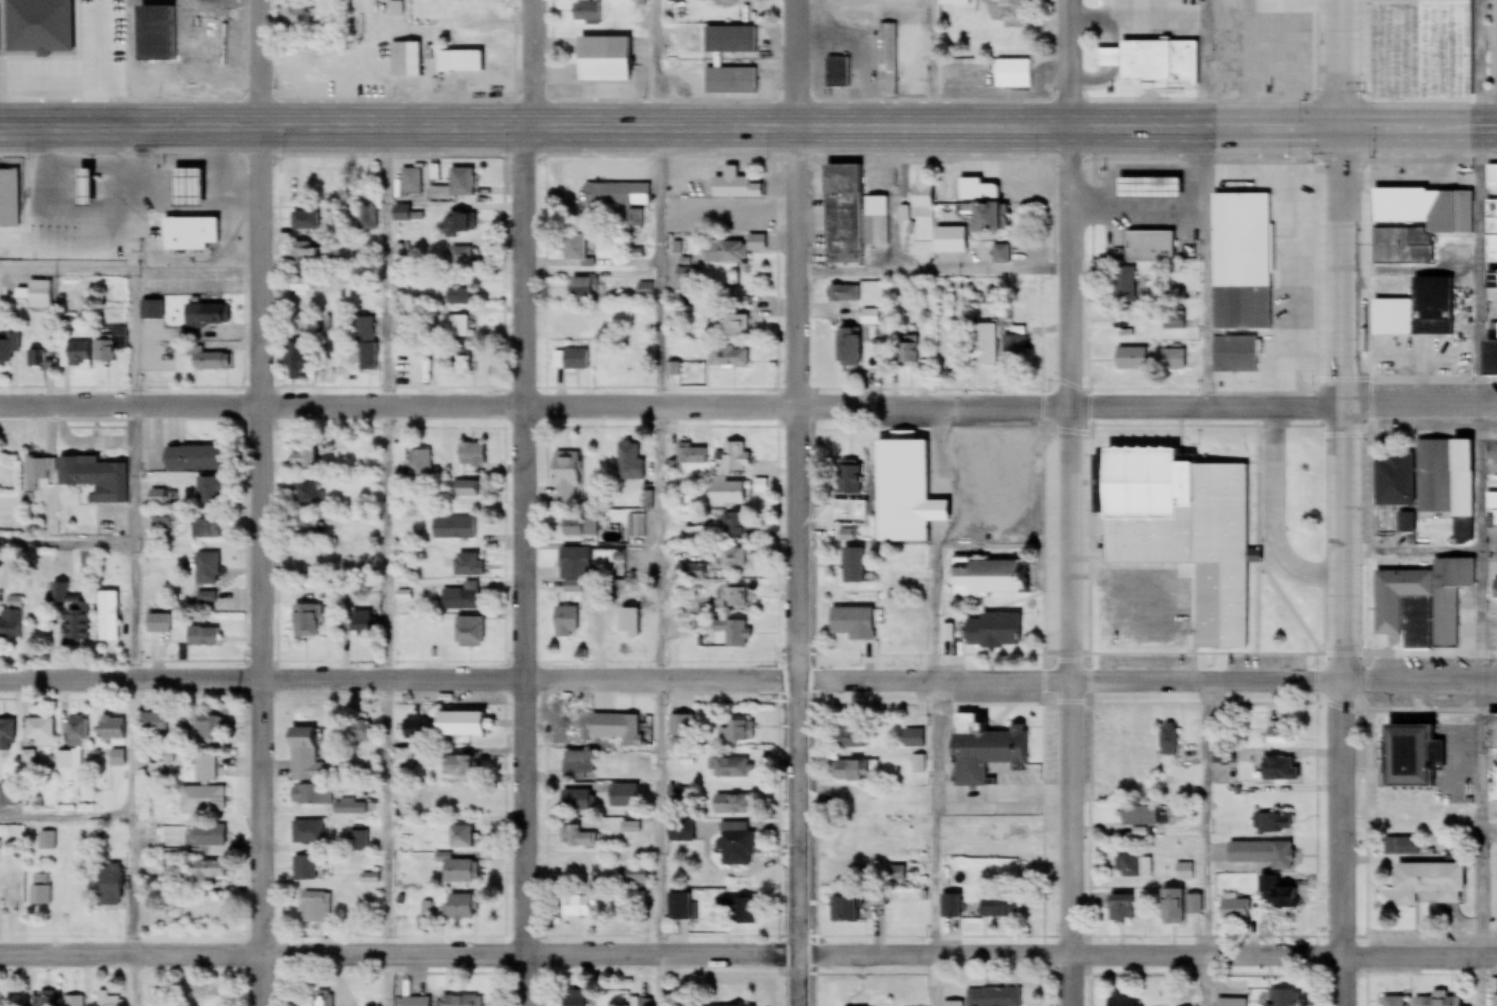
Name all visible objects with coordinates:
building: (1005, 9)
building: (585, 13)
building: (125, 44)
building: (1416, 48)
building: (601, 53)
building: (402, 60)
building: (887, 60)
building: (1152, 60)
building: (457, 61)
building: (711, 61)
building: (837, 73)
building: (1012, 74)
road: (748, 130)
building: (109, 177)
building: (462, 183)
building: (408, 186)
building: (735, 186)
building: (1144, 188)
building: (617, 194)
building: (922, 197)
building: (9, 198)
building: (980, 204)
road: (1201, 206)
building: (843, 215)
building: (733, 218)
building: (368, 219)
building: (876, 221)
building: (304, 222)
building: (1434, 222)
building: (456, 223)
building: (196, 233)
building: (949, 241)
building: (1145, 246)
building: (574, 247)
building: (302, 251)
building: (724, 253)
building: (1001, 255)
building: (458, 256)
building: (1235, 258)
road: (66, 268)
road: (933, 269)
building: (1491, 278)
building: (1124, 286)
building: (299, 288)
building: (582, 288)
building: (645, 290)
building: (459, 291)
building: (844, 293)
building: (40, 295)
building: (1417, 310)
building: (153, 311)
building: (207, 316)
building: (869, 318)
building: (1174, 322)
building: (730, 323)
building: (457, 327)
building: (365, 344)
building: (984, 345)
building: (1015, 346)
building: (850, 347)
building: (908, 347)
building: (9, 349)
building: (106, 349)
building: (1235, 355)
building: (76, 356)
building: (614, 357)
building: (1489, 358)
building: (300, 359)
building: (334, 359)
building: (576, 359)
building: (729, 359)
building: (1132, 359)
building: (42, 360)
building: (1172, 360)
building: (212, 361)
building: (464, 362)
building: (676, 368)
road: (748, 409)
building: (472, 454)
building: (690, 455)
building: (735, 457)
building: (193, 459)
building: (302, 460)
building: (628, 460)
building: (416, 461)
building: (37, 472)
building: (848, 476)
building: (1426, 477)
building: (98, 478)
building: (566, 478)
building: (466, 489)
building: (209, 491)
building: (902, 491)
building: (726, 493)
building: (305, 494)
building: (157, 498)
road: (1334, 502)
road: (260, 503)
road: (525, 503)
road: (795, 503)
road: (1071, 503)
building: (1491, 511)
building: (162, 524)
building: (636, 525)
building: (1405, 525)
building: (728, 526)
building: (305, 527)
building: (463, 527)
building: (578, 527)
building: (201, 529)
building: (1189, 529)
road: (661, 540)
road: (388, 541)
road: (67, 542)
building: (573, 558)
building: (305, 559)
building: (730, 559)
building: (613, 560)
building: (468, 565)
building: (851, 566)
building: (205, 570)
building: (984, 578)
building: (570, 586)
building: (1494, 590)
building: (732, 597)
building: (460, 598)
building: (205, 599)
building: (1422, 603)
building: (71, 614)
building: (106, 617)
building: (627, 617)
building: (11, 621)
building: (302, 622)
building: (361, 622)
building: (563, 623)
building: (156, 624)
building: (851, 624)
building: (990, 632)
building: (467, 633)
building: (733, 633)
road: (134, 637)
building: (202, 638)
road: (748, 677)
road: (935, 708)
building: (151, 724)
building: (457, 725)
building: (109, 729)
building: (207, 729)
building: (412, 729)
building: (686, 731)
building: (569, 732)
building: (737, 732)
building: (357, 733)
building: (1276, 733)
building: (1495, 733)
building: (6, 734)
building: (74, 734)
building: (627, 736)
building: (847, 736)
building: (35, 739)
building: (912, 740)
building: (1168, 740)
building: (981, 751)
building: (1223, 756)
building: (303, 757)
building: (1406, 757)
building: (400, 758)
building: (576, 763)
building: (455, 767)
building: (728, 769)
building: (1278, 769)
building: (204, 771)
building: (850, 772)
building: (1494, 786)
building: (322, 800)
building: (201, 801)
building: (576, 801)
building: (729, 805)
building: (849, 805)
road: (68, 817)
building: (1138, 817)
building: (1276, 823)
building: (1401, 823)
building: (629, 828)
building: (306, 832)
building: (680, 832)
building: (1003, 833)
building: (208, 837)
building: (458, 837)
building: (575, 838)
building: (153, 840)
building: (47, 842)
building: (845, 842)
building: (735, 845)
building: (1401, 847)
building: (1253, 857)
building: (1133, 868)
building: (303, 869)
building: (576, 869)
building: (845, 870)
building: (209, 871)
building: (456, 871)
building: (1184, 872)
building: (894, 875)
building: (634, 876)
building: (1427, 884)
building: (109, 886)
building: (41, 890)
building: (9, 895)
building: (1276, 895)
building: (637, 899)
building: (578, 907)
building: (677, 907)
building: (997, 907)
building: (1178, 907)
building: (315, 908)
building: (457, 908)
building: (949, 908)
building: (735, 910)
building: (843, 910)
building: (1119, 910)
building: (1234, 910)
road: (748, 949)
building: (994, 997)
building: (572, 998)
building: (1284, 998)
building: (1, 999)
building: (323, 999)
building: (1120, 999)
building: (110, 1000)
building: (1437, 1000)
building: (75, 1001)
building: (206, 1001)
building: (461, 1001)
building: (1392, 1001)
building: (1495, 1001)
building: (416, 1002)
building: (639, 1002)
building: (1231, 1002)

